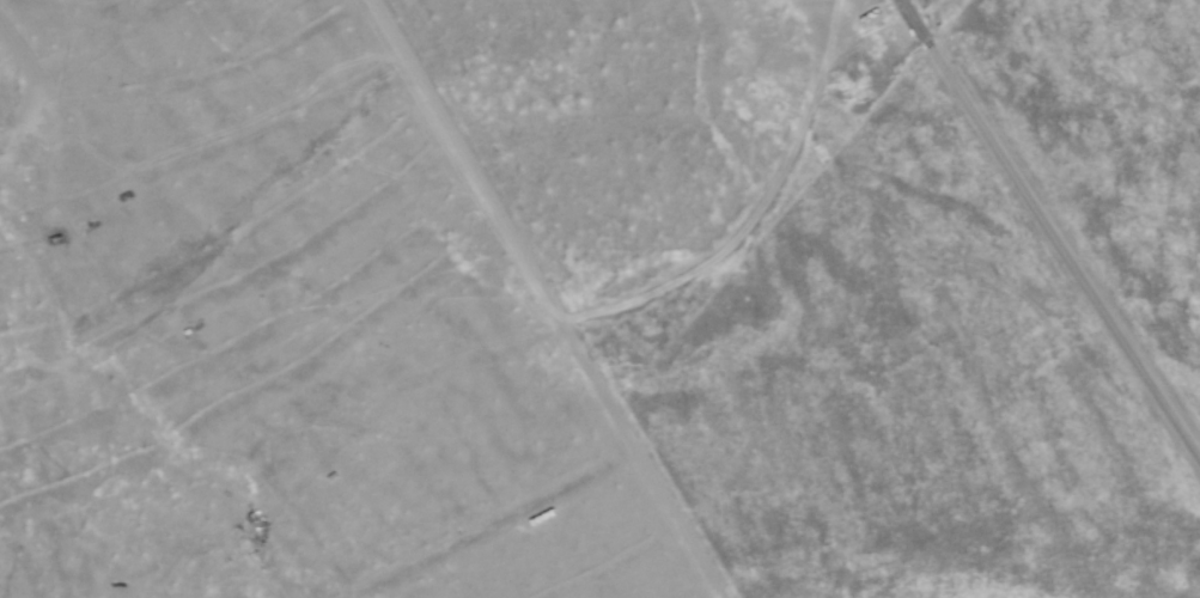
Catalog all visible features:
road: (38, 92)
road: (201, 144)
road: (1050, 226)
road: (544, 298)
airport: (599, 299)
road: (492, 521)

